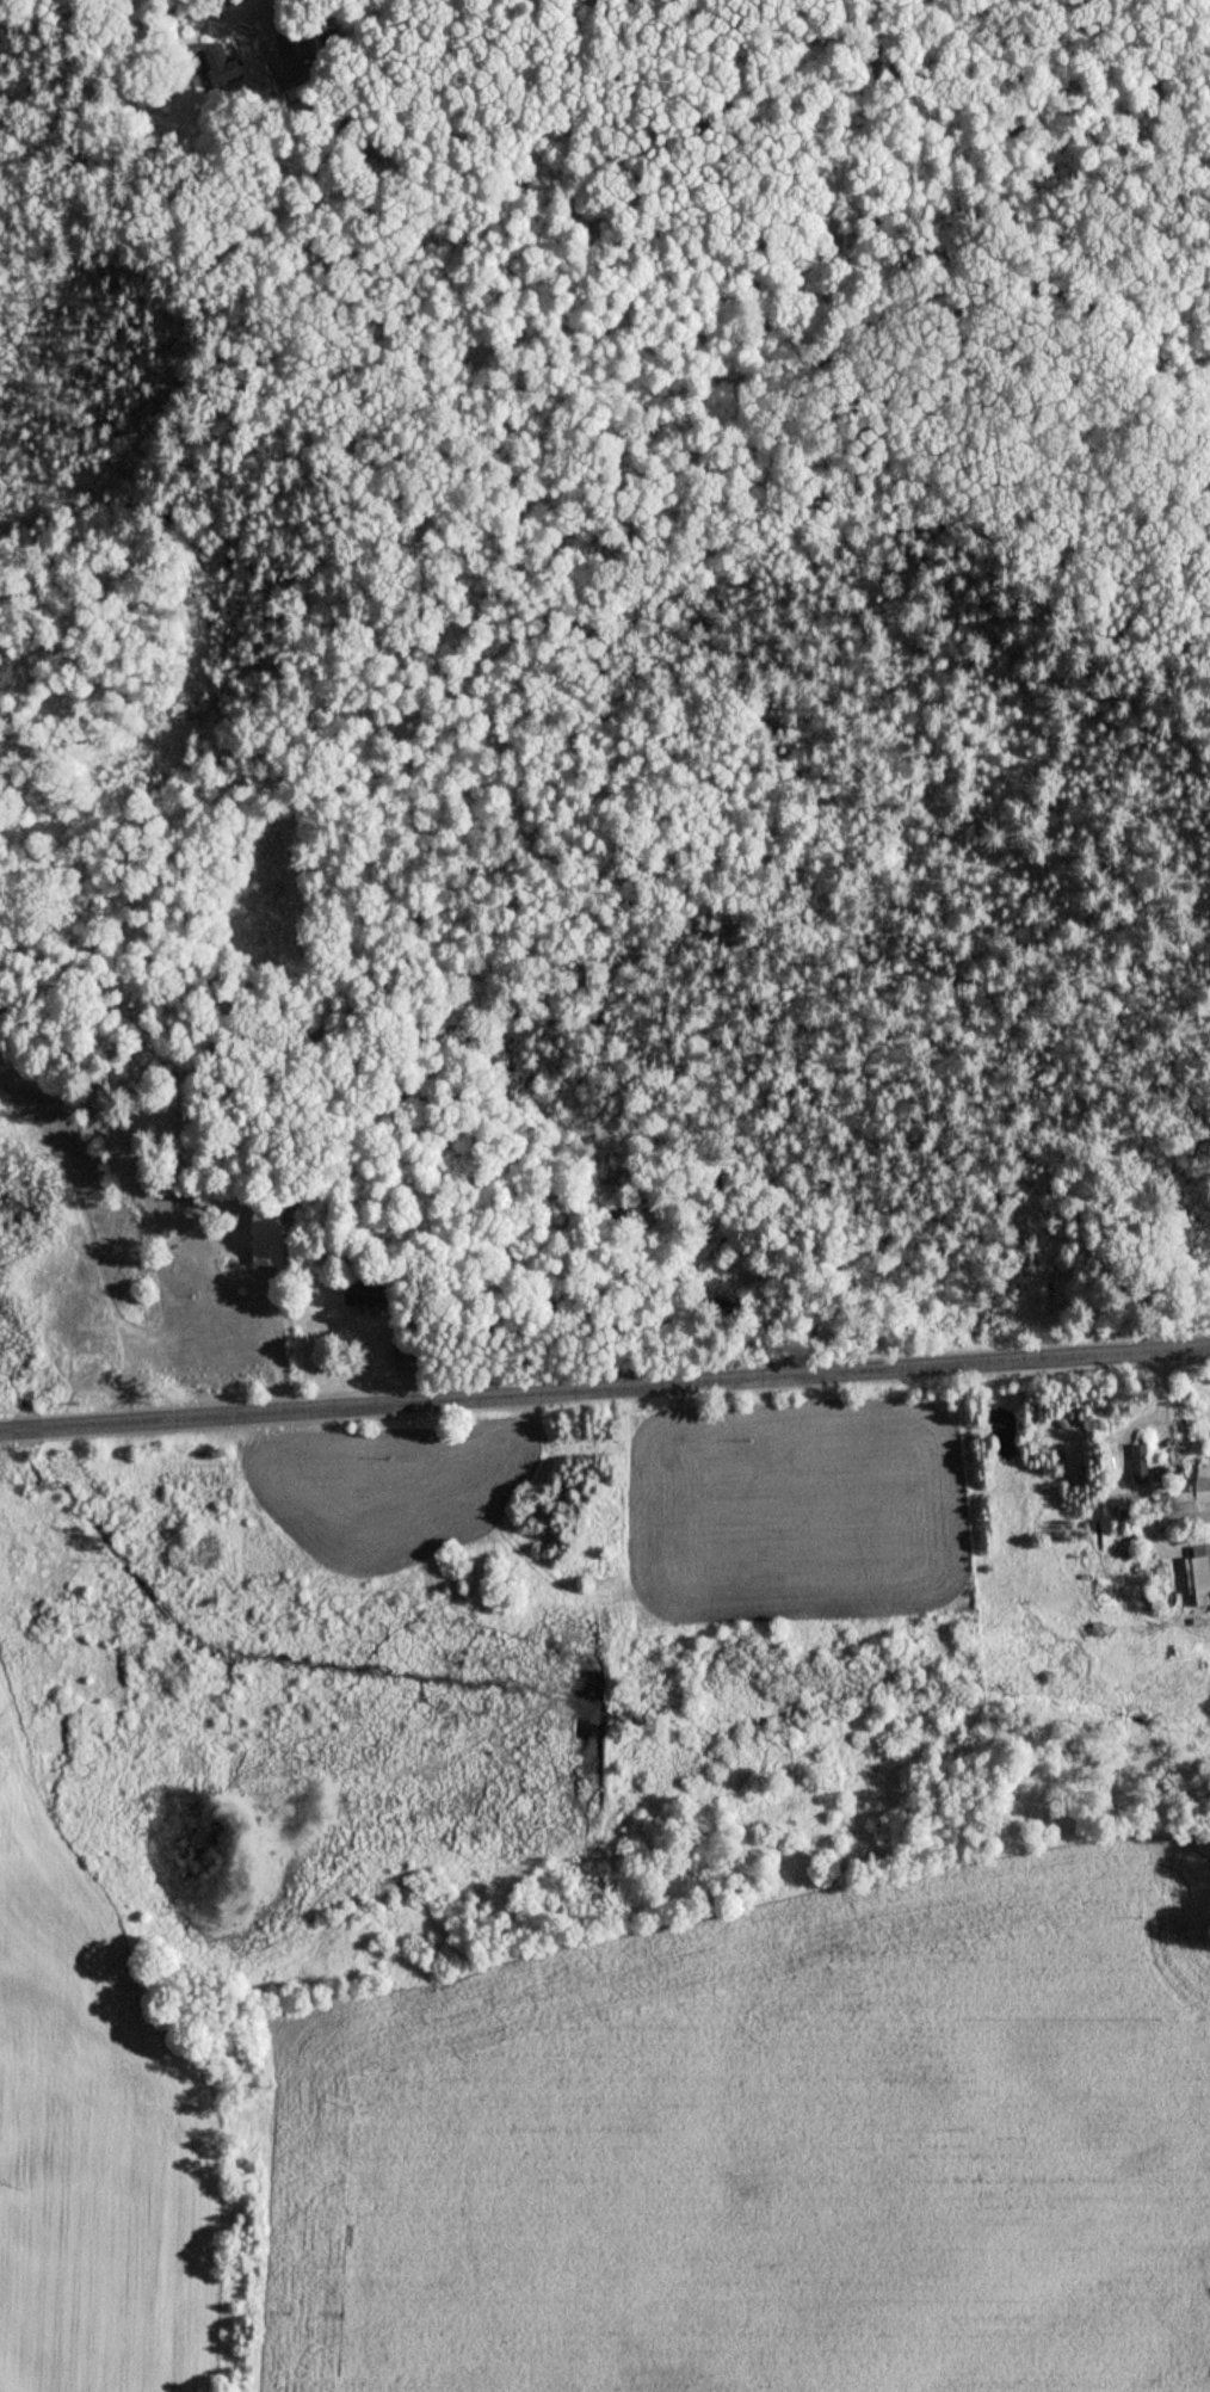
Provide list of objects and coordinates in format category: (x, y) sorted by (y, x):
road: (273, 8)
road: (235, 13)
building: (220, 66)
building: (284, 67)
building: (270, 1239)
building: (368, 1294)
building: (406, 1355)
road: (605, 1389)
building: (1142, 1463)
road: (1125, 1467)
building: (1190, 1499)
building: (1203, 1573)

